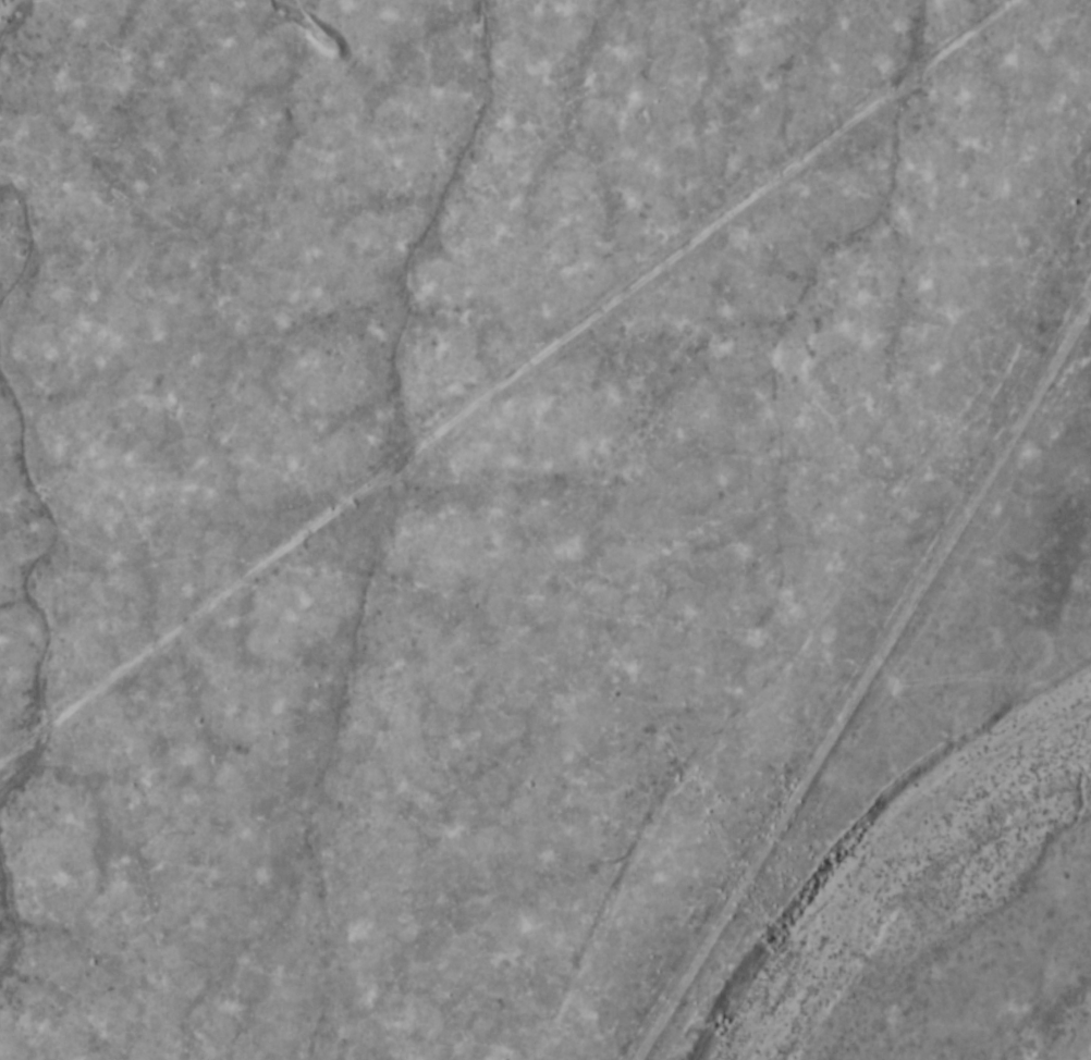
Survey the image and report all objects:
road: (512, 392)

